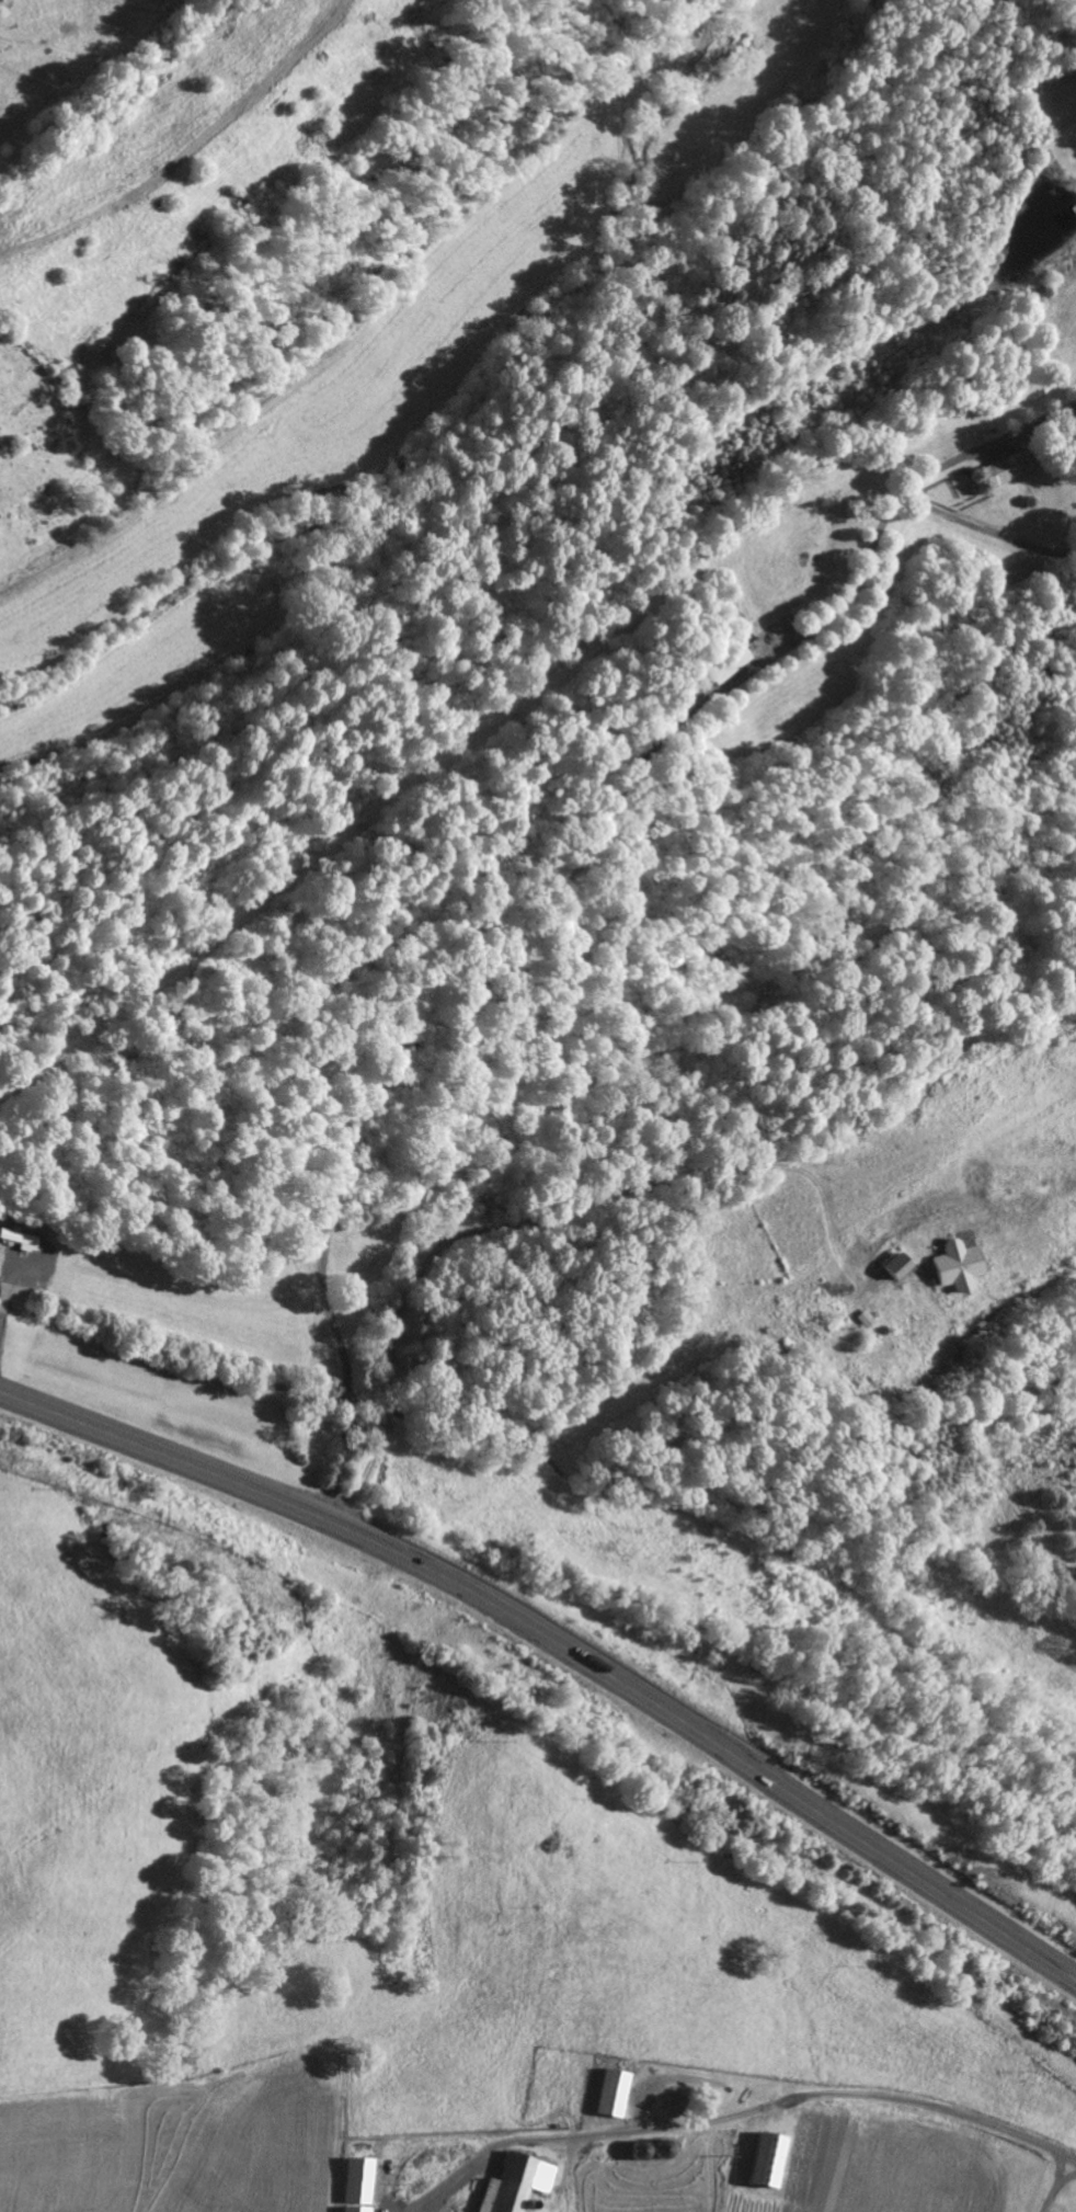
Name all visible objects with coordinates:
building: (1007, 469)
building: (733, 662)
building: (908, 1263)
building: (966, 1264)
building: (872, 1318)
road: (559, 1643)
building: (618, 2093)
building: (774, 2158)
building: (520, 2182)
building: (363, 2185)

